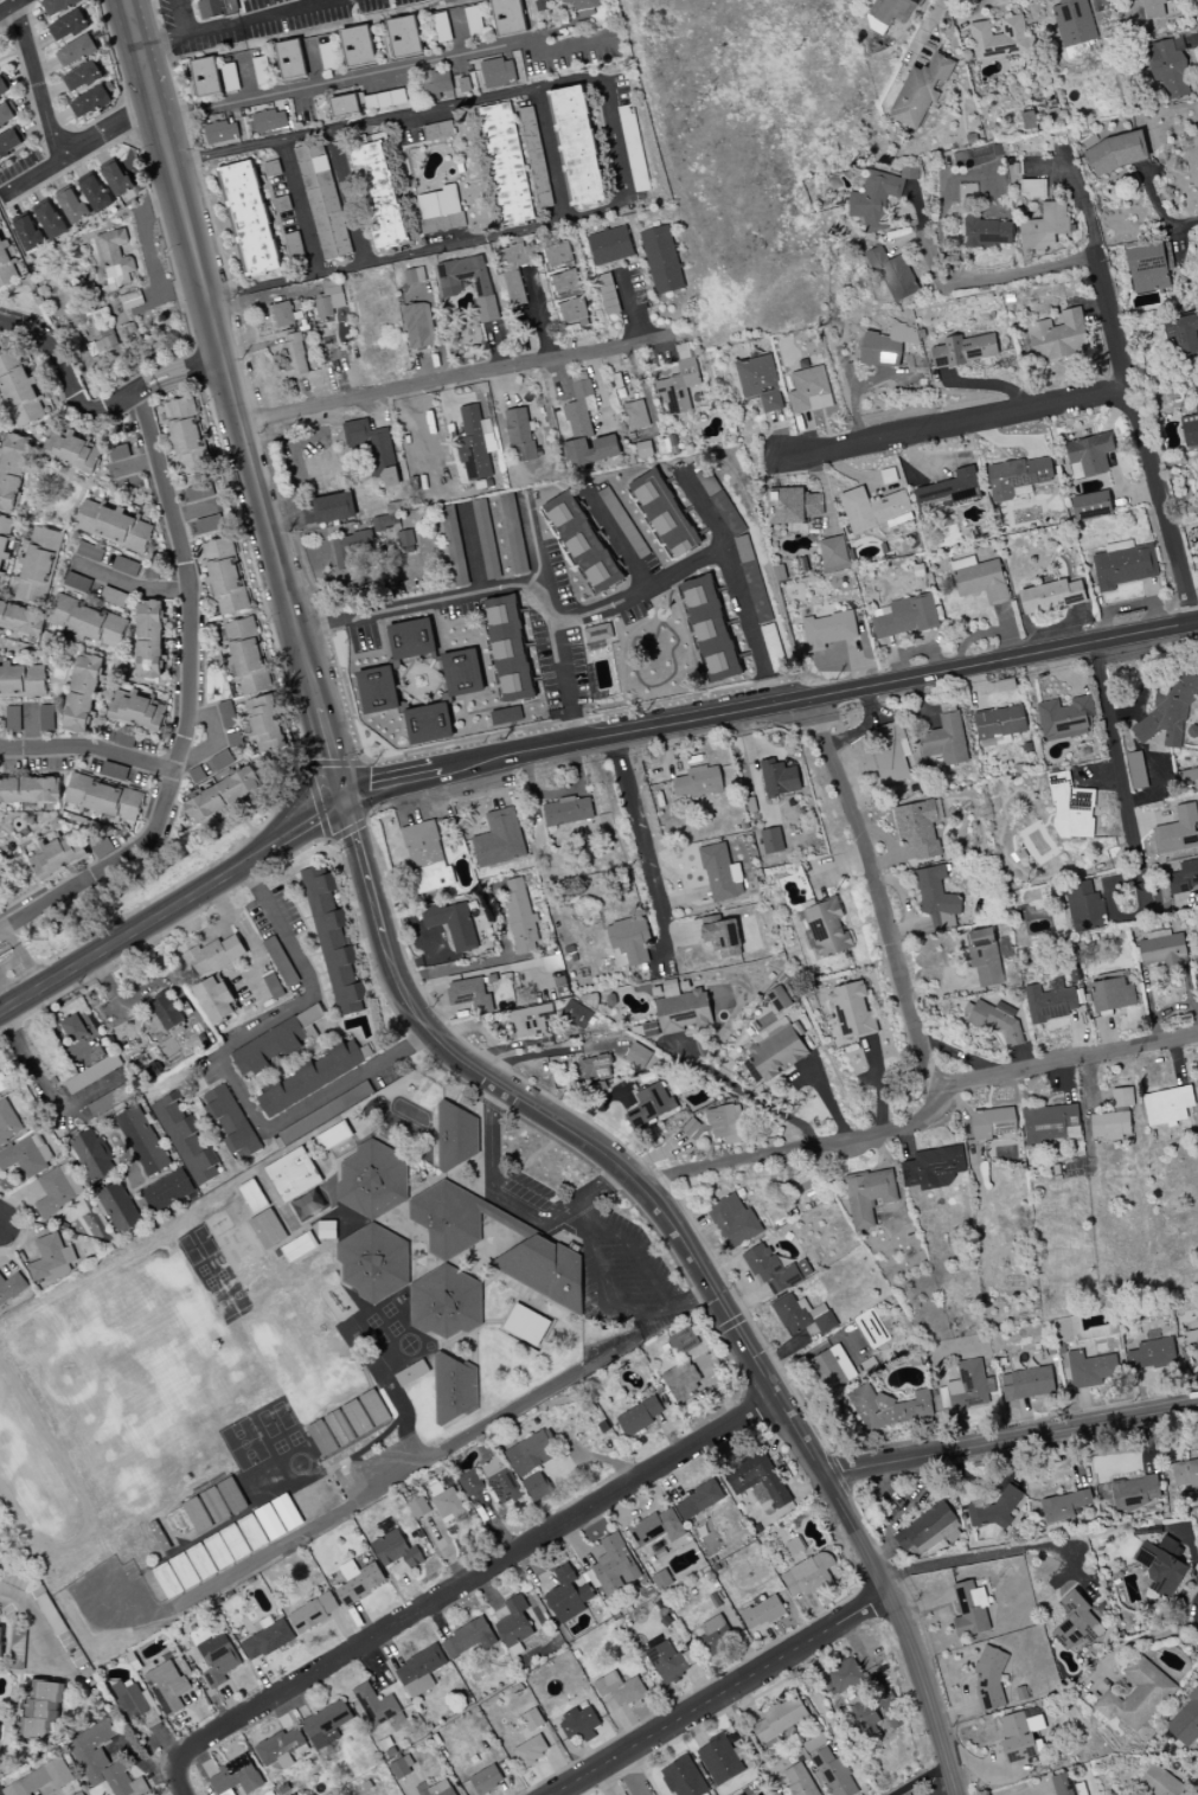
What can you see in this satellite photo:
road: (11, 6)
building: (58, 6)
building: (583, 6)
building: (216, 8)
building: (1153, 9)
building: (890, 13)
road: (180, 17)
building: (507, 17)
road: (238, 21)
building: (1074, 23)
building: (68, 26)
road: (925, 28)
building: (404, 38)
building: (999, 39)
road: (1194, 40)
building: (357, 46)
building: (76, 52)
building: (290, 60)
building: (1168, 68)
road: (392, 71)
building: (495, 73)
building: (82, 77)
building: (205, 77)
road: (602, 78)
road: (41, 81)
building: (435, 84)
building: (920, 92)
building: (90, 102)
building: (369, 102)
building: (7, 115)
building: (1029, 121)
building: (269, 122)
building: (438, 130)
building: (220, 133)
building: (11, 142)
building: (576, 146)
road: (252, 148)
road: (77, 150)
building: (1116, 153)
building: (978, 155)
building: (534, 158)
building: (505, 164)
building: (121, 178)
road: (1080, 192)
building: (967, 193)
building: (95, 194)
building: (378, 195)
road: (350, 197)
building: (878, 197)
building: (322, 201)
building: (72, 206)
road: (299, 207)
road: (1160, 210)
building: (440, 211)
building: (249, 219)
building: (50, 220)
building: (1045, 226)
building: (988, 232)
building: (28, 233)
building: (610, 245)
road: (423, 250)
building: (557, 255)
building: (115, 258)
building: (661, 261)
building: (1147, 268)
road: (956, 269)
building: (513, 273)
building: (414, 276)
building: (893, 276)
road: (155, 280)
road: (288, 280)
building: (450, 288)
building: (569, 297)
building: (329, 299)
building: (130, 300)
building: (283, 314)
building: (418, 326)
building: (1185, 334)
building: (1058, 336)
building: (886, 346)
building: (104, 350)
building: (965, 351)
building: (294, 354)
road: (177, 367)
road: (174, 373)
road: (456, 376)
road: (181, 377)
building: (679, 382)
building: (760, 383)
building: (1197, 387)
building: (809, 390)
building: (18, 391)
building: (636, 415)
road: (960, 425)
building: (1190, 429)
building: (585, 430)
building: (520, 434)
building: (186, 437)
road: (1142, 442)
building: (475, 444)
building: (667, 445)
building: (373, 450)
building: (71, 451)
building: (1089, 456)
building: (1197, 457)
building: (12, 470)
building: (1018, 476)
road: (258, 491)
building: (948, 493)
building: (1091, 506)
building: (331, 509)
building: (875, 509)
building: (664, 514)
building: (728, 515)
building: (385, 521)
building: (623, 523)
building: (207, 525)
building: (111, 526)
building: (513, 533)
building: (486, 539)
building: (4, 540)
road: (620, 540)
building: (406, 541)
building: (583, 543)
road: (533, 545)
building: (454, 546)
building: (90, 551)
building: (353, 551)
building: (833, 554)
building: (1123, 565)
building: (37, 566)
building: (225, 576)
building: (980, 579)
road: (736, 582)
road: (129, 586)
road: (350, 586)
road: (523, 590)
building: (755, 590)
building: (1051, 597)
road: (191, 610)
building: (905, 617)
building: (23, 621)
building: (87, 622)
building: (710, 629)
building: (828, 630)
building: (598, 633)
building: (411, 639)
building: (149, 640)
building: (508, 649)
building: (246, 656)
building: (462, 673)
road: (565, 679)
building: (23, 680)
road: (820, 688)
building: (378, 690)
building: (83, 693)
building: (136, 711)
building: (1168, 711)
building: (226, 714)
building: (506, 716)
building: (46, 718)
building: (1064, 718)
building: (13, 719)
building: (1000, 723)
building: (264, 724)
building: (429, 724)
building: (946, 737)
road: (213, 738)
road: (89, 750)
building: (891, 754)
building: (1135, 770)
building: (1186, 776)
building: (779, 778)
road: (1122, 782)
building: (698, 783)
road: (396, 786)
building: (30, 791)
building: (223, 796)
building: (103, 799)
traffic signals: (348, 804)
building: (1071, 809)
building: (568, 812)
road: (308, 828)
building: (918, 828)
building: (1179, 831)
building: (499, 840)
building: (771, 841)
road: (646, 845)
building: (423, 847)
building: (58, 857)
building: (722, 873)
building: (1184, 878)
road: (880, 893)
building: (1084, 908)
building: (520, 917)
road: (1130, 919)
building: (453, 924)
building: (826, 928)
road: (134, 931)
building: (720, 935)
building: (626, 943)
building: (334, 944)
building: (1161, 951)
building: (213, 956)
building: (985, 957)
building: (552, 963)
road: (478, 966)
road: (14, 967)
building: (469, 994)
building: (1111, 995)
building: (777, 999)
building: (214, 1000)
building: (1050, 1004)
road: (410, 1008)
building: (166, 1011)
building: (852, 1012)
building: (576, 1014)
building: (531, 1020)
building: (997, 1020)
building: (73, 1028)
building: (274, 1044)
building: (776, 1050)
building: (638, 1056)
road: (1069, 1059)
road: (220, 1065)
building: (595, 1068)
building: (314, 1078)
road: (49, 1086)
building: (1122, 1097)
building: (653, 1102)
road: (756, 1103)
building: (1167, 1107)
building: (230, 1121)
building: (7, 1123)
building: (726, 1123)
building: (993, 1123)
building: (1051, 1124)
building: (1110, 1126)
building: (333, 1136)
building: (456, 1136)
building: (141, 1141)
building: (186, 1141)
road: (795, 1147)
building: (26, 1155)
building: (94, 1155)
building: (933, 1168)
building: (293, 1175)
building: (372, 1180)
building: (167, 1191)
road: (518, 1194)
building: (867, 1195)
building: (252, 1197)
building: (118, 1207)
road: (581, 1216)
building: (455, 1219)
building: (733, 1222)
building: (268, 1229)
road: (589, 1237)
building: (299, 1248)
building: (51, 1259)
building: (373, 1262)
building: (545, 1268)
building: (770, 1269)
building: (803, 1269)
parking lot: (626, 1272)
building: (11, 1288)
road: (691, 1299)
building: (444, 1303)
building: (802, 1315)
building: (526, 1325)
building: (1197, 1336)
building: (683, 1342)
building: (1151, 1354)
road: (758, 1365)
building: (832, 1368)
building: (1090, 1370)
building: (683, 1383)
building: (1027, 1384)
building: (967, 1387)
building: (455, 1389)
building: (888, 1408)
building: (639, 1417)
building: (348, 1423)
road: (1011, 1442)
building: (530, 1454)
parking lot: (384, 1461)
building: (1185, 1474)
building: (756, 1477)
building: (499, 1479)
building: (469, 1482)
building: (537, 1487)
building: (1134, 1493)
building: (232, 1495)
building: (699, 1500)
building: (446, 1502)
building: (214, 1506)
building: (1064, 1506)
building: (418, 1508)
building: (994, 1511)
road: (341, 1512)
building: (287, 1513)
building: (197, 1515)
building: (269, 1522)
building: (658, 1528)
building: (928, 1531)
building: (252, 1532)
building: (226, 1546)
building: (396, 1550)
road: (991, 1554)
building: (200, 1562)
building: (614, 1565)
building: (1162, 1565)
building: (184, 1571)
road: (483, 1573)
building: (808, 1576)
building: (661, 1579)
building: (167, 1581)
building: (359, 1582)
parking lot: (113, 1594)
building: (568, 1595)
building: (970, 1610)
building: (314, 1613)
building: (762, 1613)
building: (517, 1622)
building: (1077, 1623)
road: (41, 1628)
building: (0, 1637)
building: (715, 1637)
building: (268, 1639)
building: (468, 1639)
building: (217, 1660)
building: (670, 1660)
building: (419, 1672)
building: (844, 1675)
building: (991, 1675)
building: (167, 1687)
building: (621, 1690)
road: (720, 1695)
building: (1138, 1695)
building: (134, 1703)
building: (376, 1705)
building: (40, 1709)
building: (780, 1718)
building: (532, 1720)
building: (1185, 1723)
building: (327, 1724)
building: (579, 1724)
building: (869, 1724)
building: (1019, 1736)
building: (282, 1749)
building: (531, 1751)
building: (719, 1761)
building: (103, 1762)
building: (401, 1768)
road: (179, 1772)
building: (834, 1774)
road: (632, 1775)
building: (236, 1777)
building: (684, 1778)
building: (40, 1780)
building: (486, 1780)
building: (800, 1781)
building: (1160, 1783)
building: (1063, 1784)
building: (436, 1789)
building: (1080, 1789)

